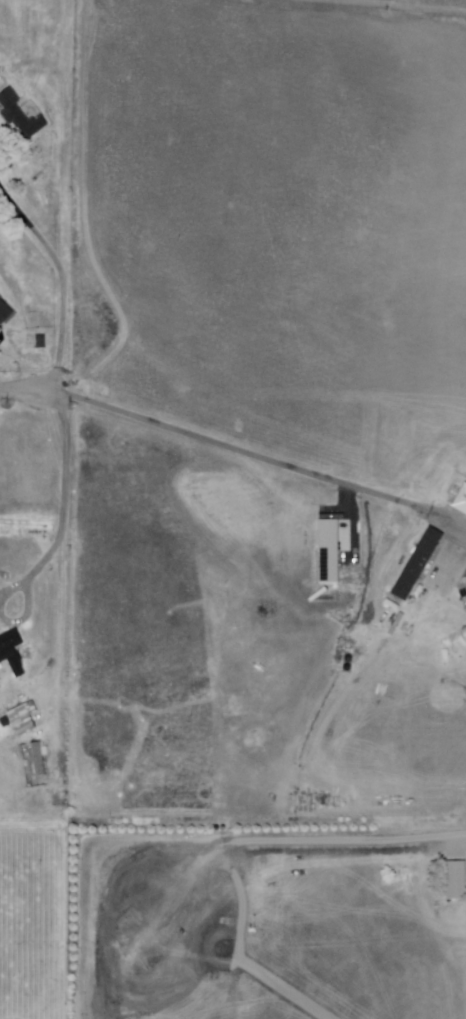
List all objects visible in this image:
building: (0, 73)
building: (21, 116)
crop: (282, 221)
road: (60, 281)
building: (4, 313)
building: (41, 340)
road: (207, 435)
building: (464, 501)
building: (417, 564)
park: (448, 571)
building: (465, 581)
crop: (250, 644)
building: (7, 647)
building: (25, 719)
building: (33, 759)
building: (39, 760)
building: (457, 881)

